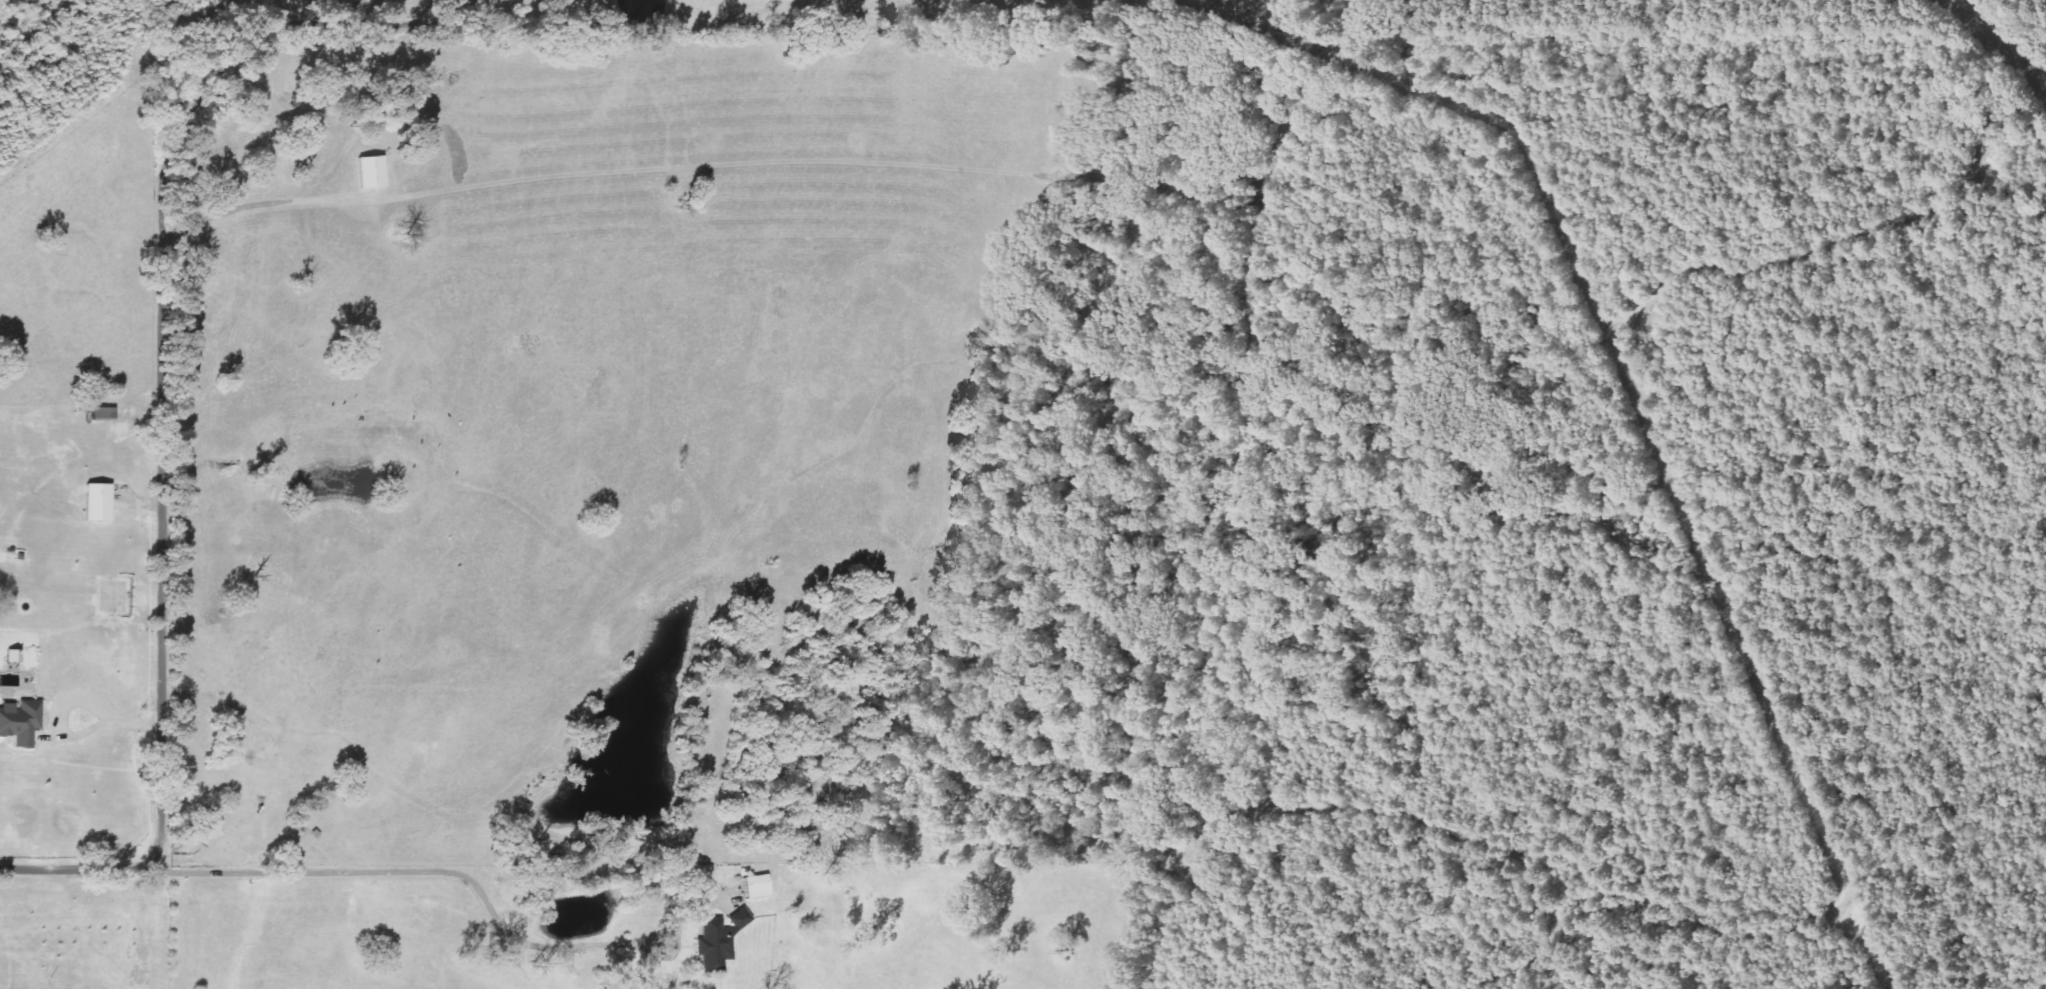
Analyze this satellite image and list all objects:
road: (458, 1)
building: (373, 173)
road: (164, 406)
building: (99, 502)
building: (21, 722)
road: (459, 876)
building: (759, 887)
building: (719, 941)

